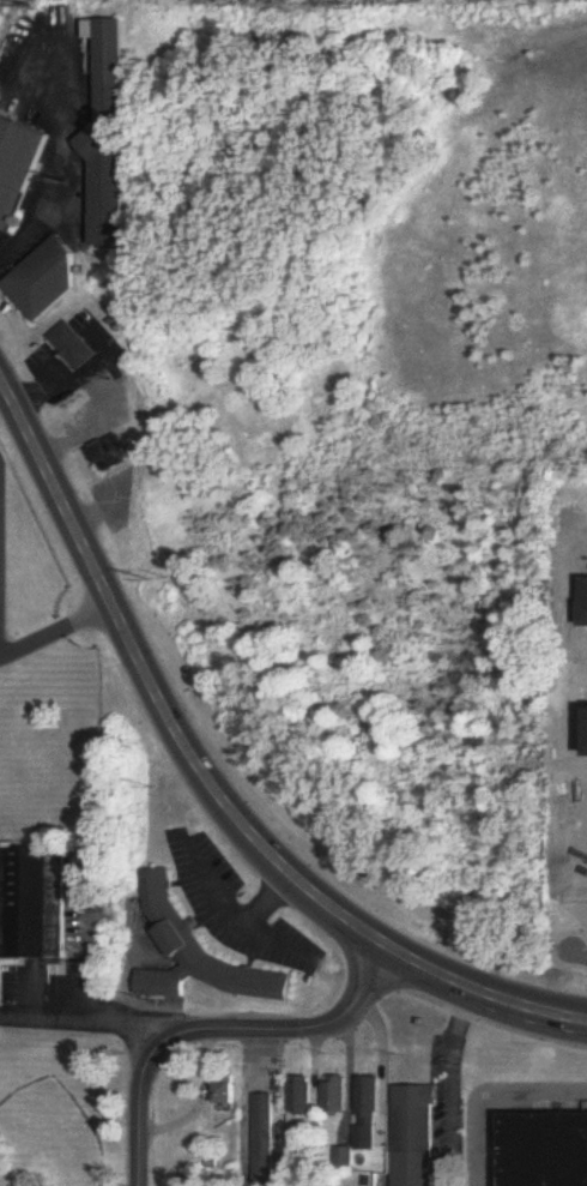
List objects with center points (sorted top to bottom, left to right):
building: (111, 137)
road: (50, 155)
building: (18, 168)
building: (48, 278)
building: (73, 347)
building: (109, 456)
building: (569, 525)
building: (569, 568)
road: (53, 628)
road: (208, 791)
building: (32, 904)
building: (194, 955)
road: (96, 1015)
road: (308, 1034)
road: (453, 1089)
building: (225, 1091)
road: (134, 1092)
road: (485, 1094)
building: (335, 1096)
building: (301, 1097)
building: (367, 1114)
building: (413, 1120)
building: (264, 1140)
building: (546, 1150)
building: (343, 1157)

